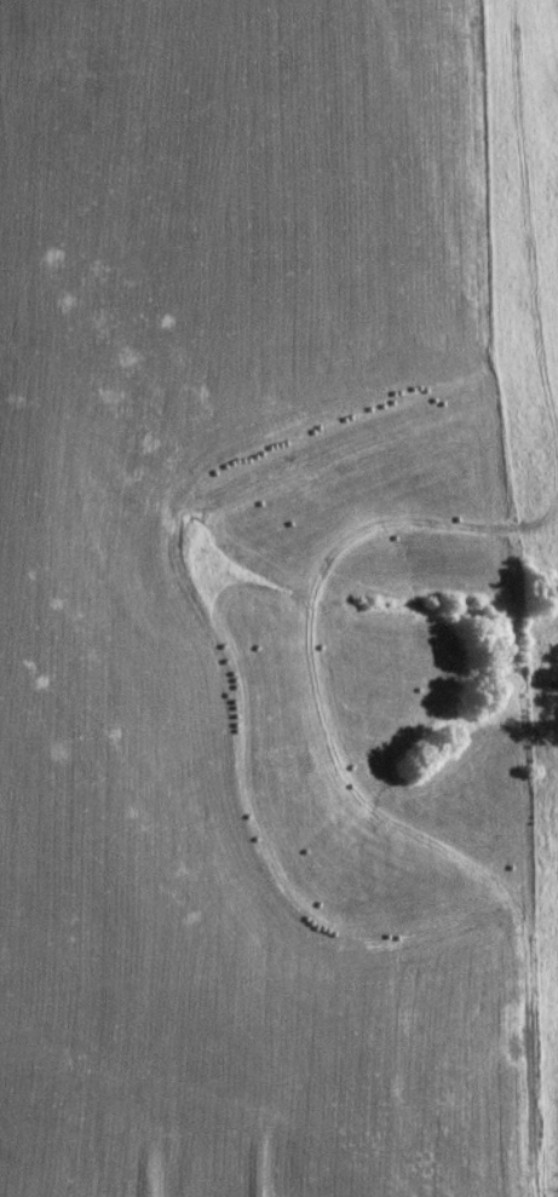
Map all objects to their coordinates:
road: (328, 608)

